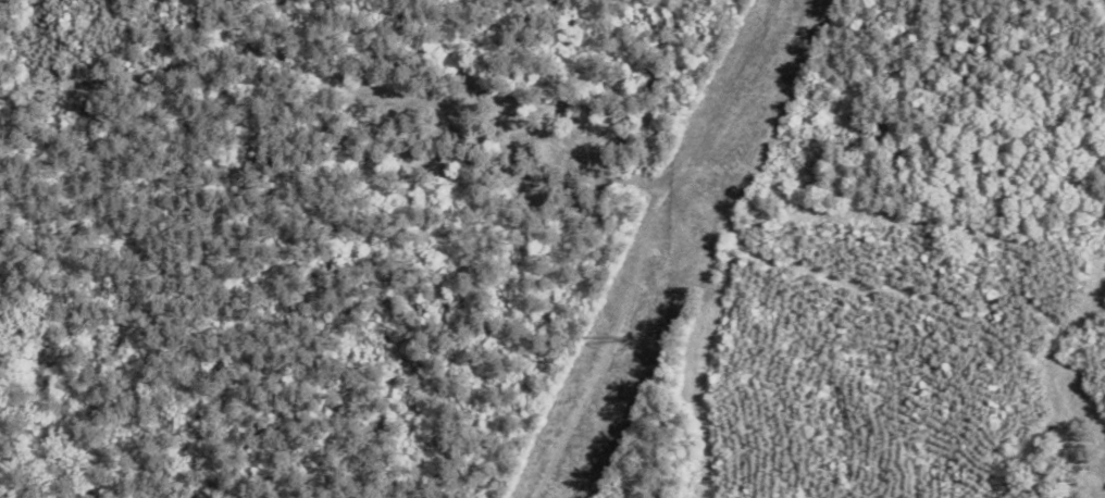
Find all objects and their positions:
road: (1079, 315)
power tower: (625, 340)

